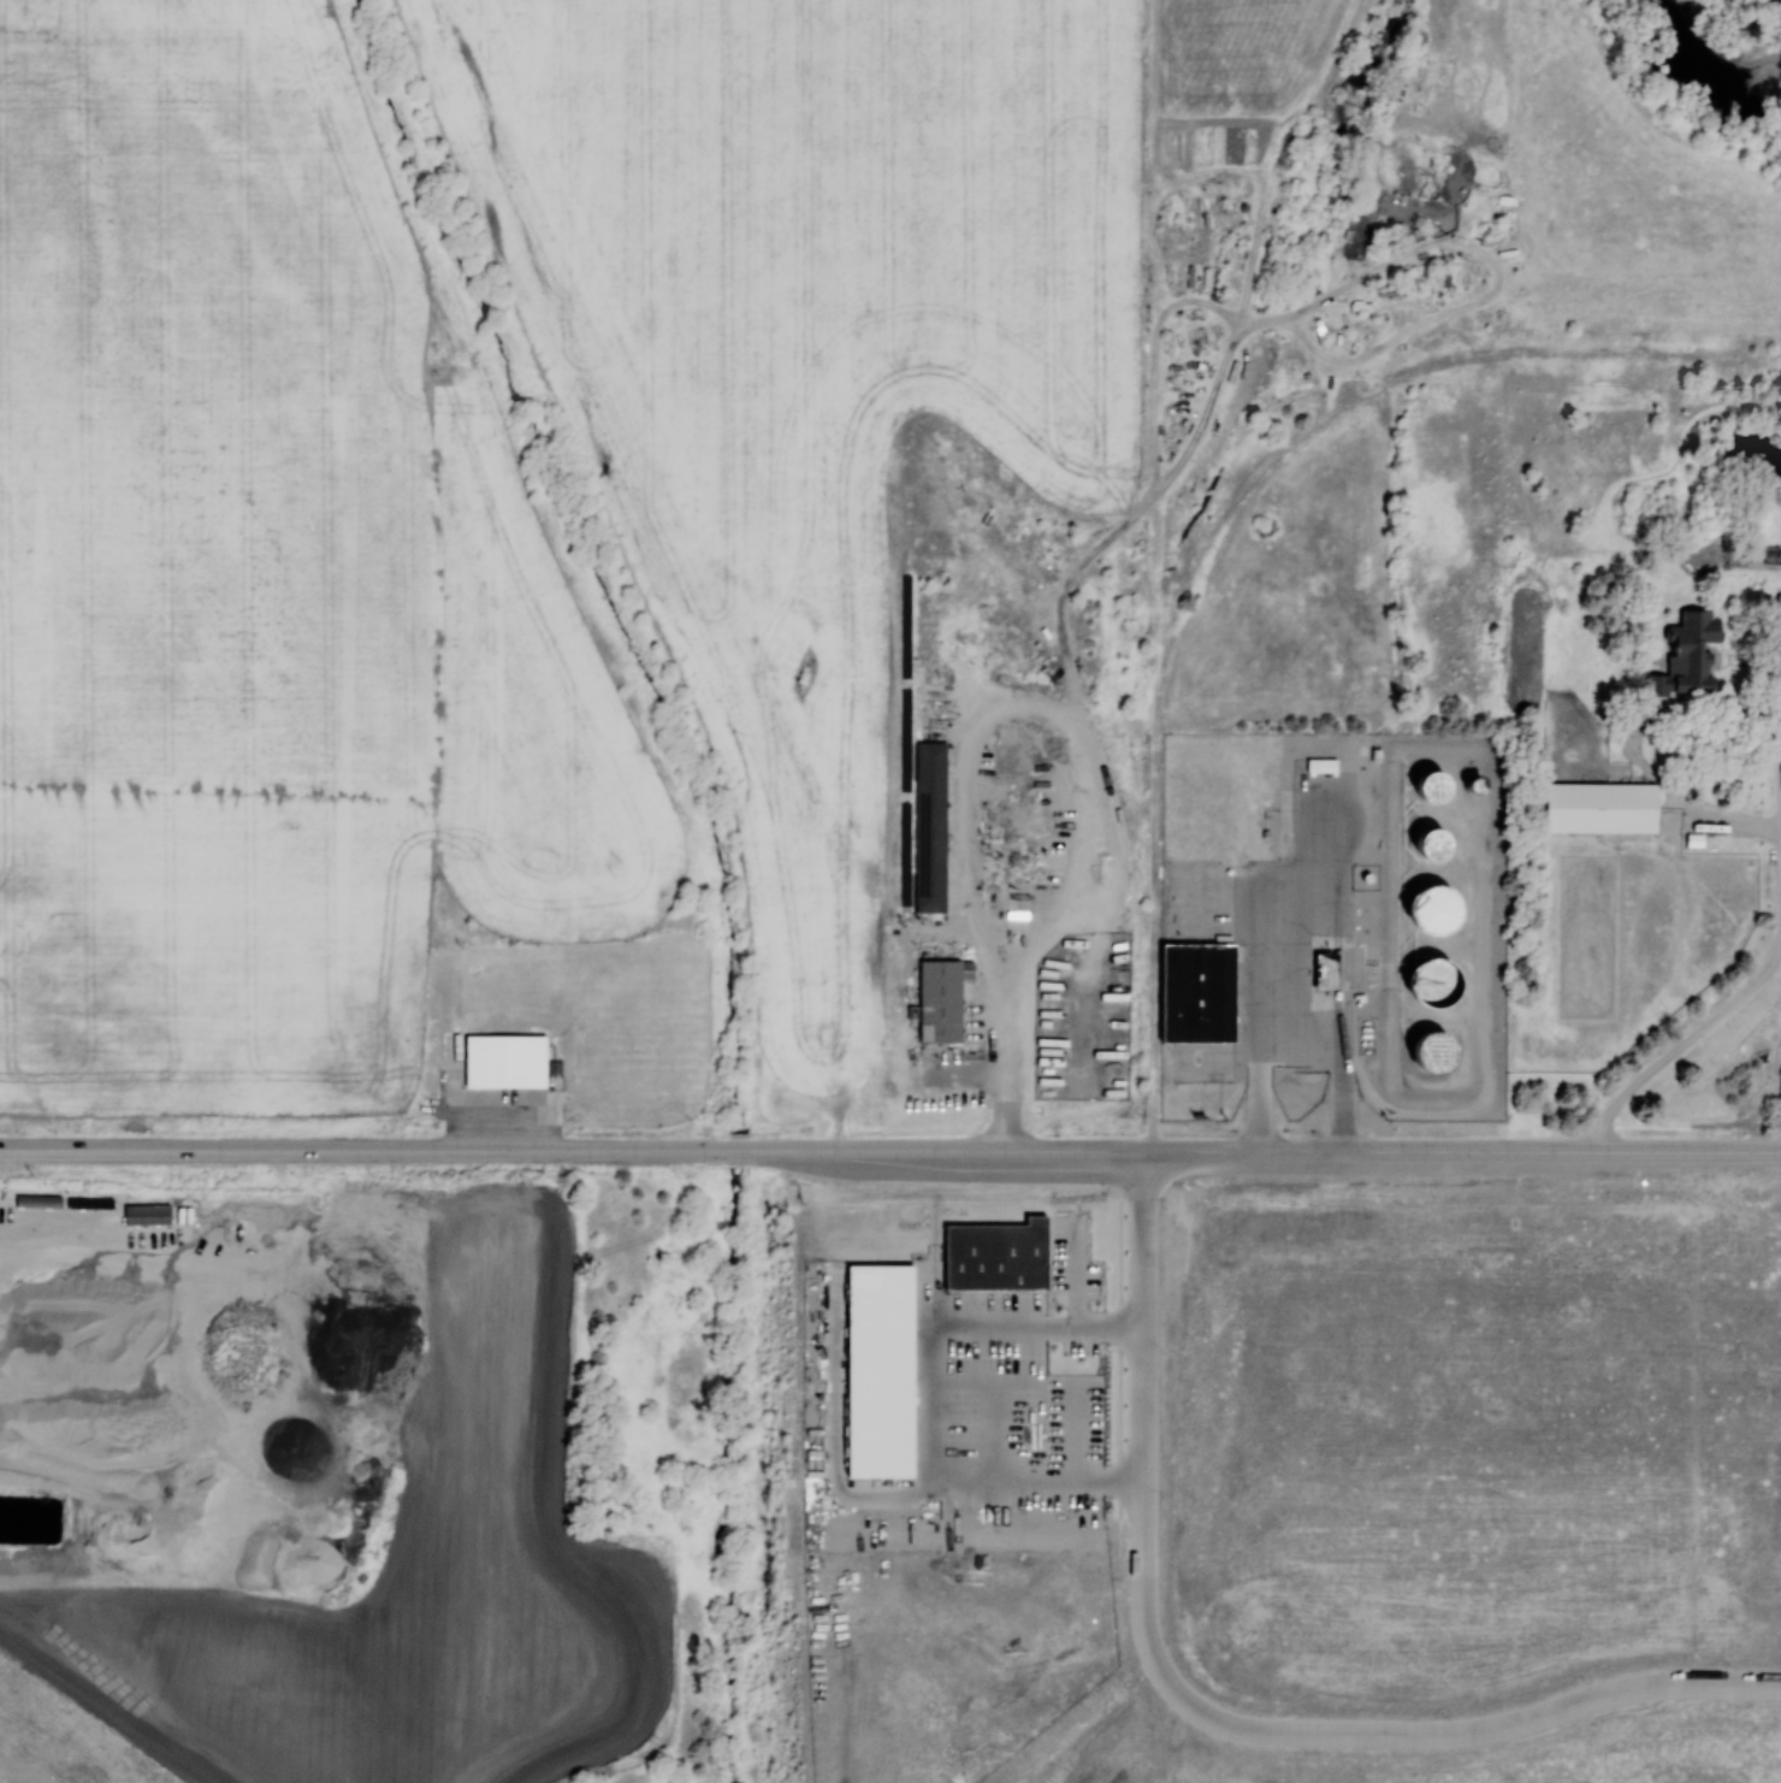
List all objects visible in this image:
building: (1779, 606)
building: (1688, 653)
road: (1079, 749)
building: (1433, 785)
building: (1599, 807)
building: (925, 833)
building: (1434, 842)
building: (1433, 908)
building: (1326, 969)
building: (1432, 981)
building: (1196, 993)
building: (941, 998)
road: (1684, 1043)
building: (1432, 1050)
building: (504, 1059)
road: (572, 1149)
road: (1463, 1150)
building: (996, 1254)
building: (880, 1369)
road: (1144, 1425)
road: (1477, 1730)

